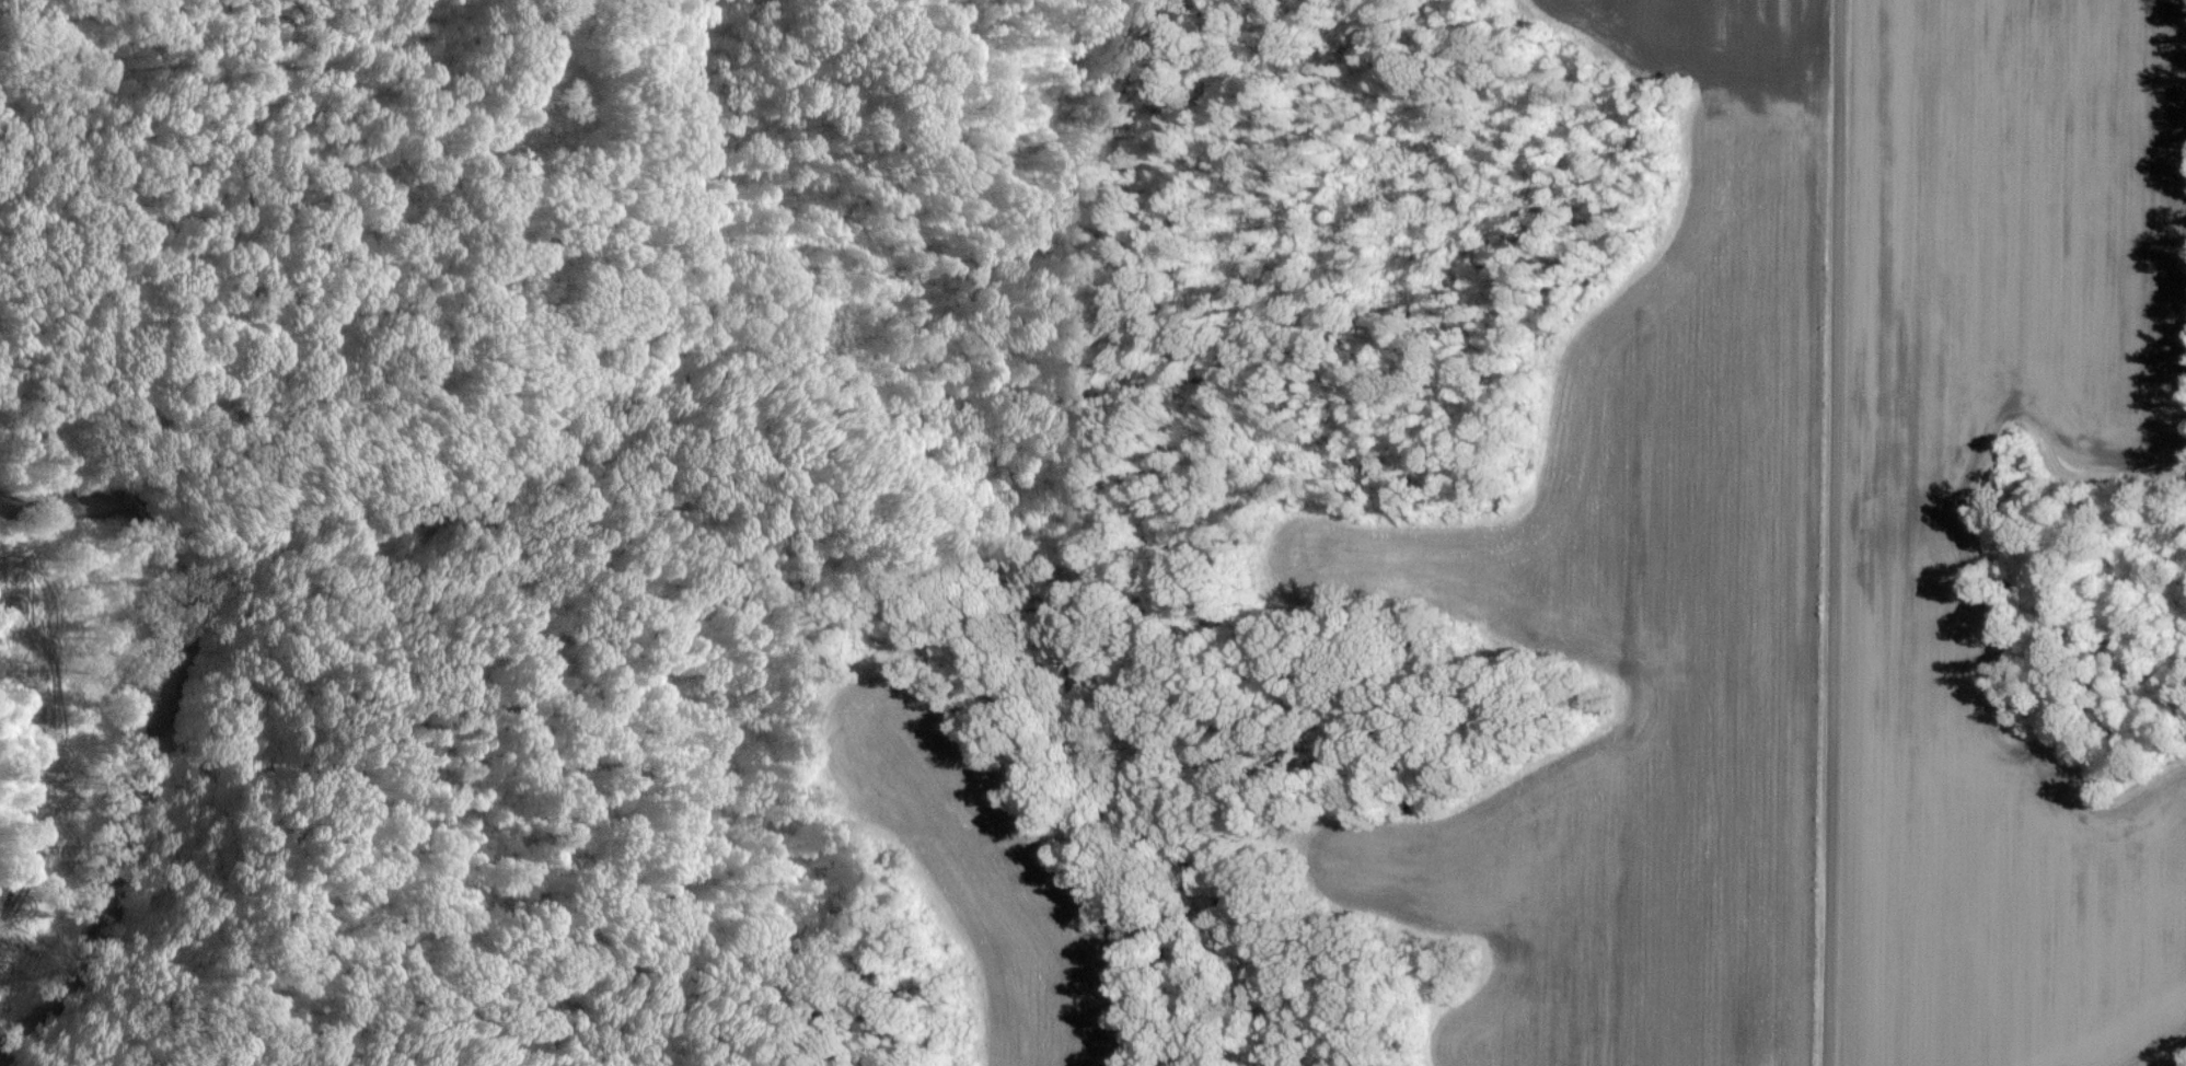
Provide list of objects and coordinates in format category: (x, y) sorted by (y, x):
road: (1830, 533)
road: (2167, 1056)

